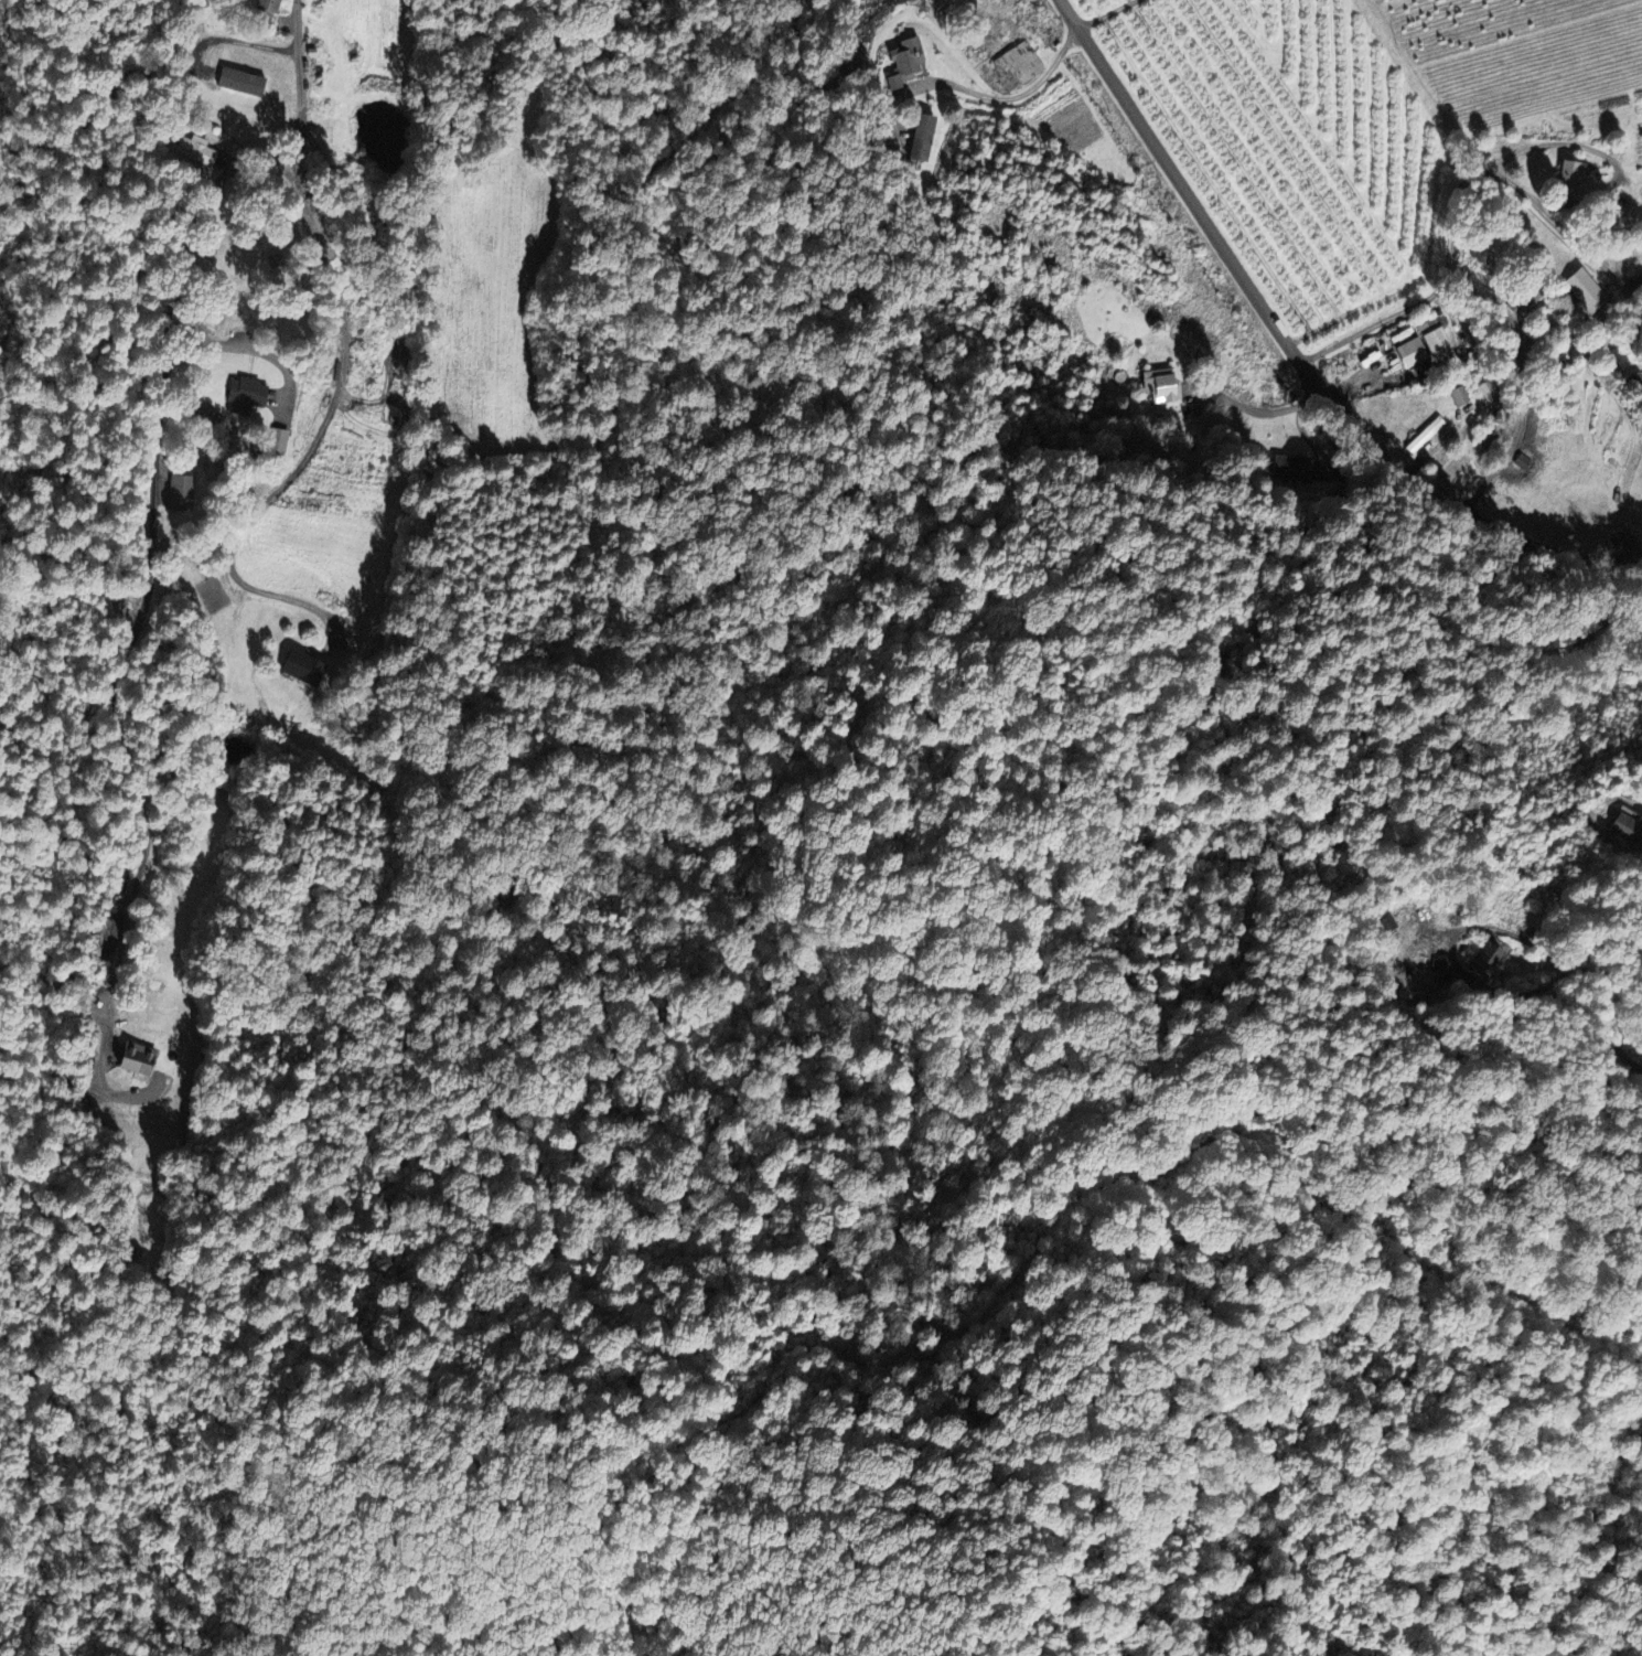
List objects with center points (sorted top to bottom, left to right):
building: (270, 7)
road: (1098, 13)
road: (240, 41)
building: (908, 63)
building: (1024, 65)
building: (240, 83)
road: (1006, 98)
building: (200, 151)
building: (1571, 178)
road: (1479, 256)
building: (1588, 292)
building: (1525, 305)
building: (1438, 341)
road: (1296, 352)
building: (1413, 354)
building: (1161, 387)
building: (249, 393)
building: (1460, 398)
road: (1516, 404)
road: (1263, 410)
road: (322, 431)
building: (1426, 437)
road: (158, 481)
building: (179, 494)
building: (304, 670)
building: (1629, 829)
building: (1490, 959)
road: (1590, 972)
building: (133, 1061)

